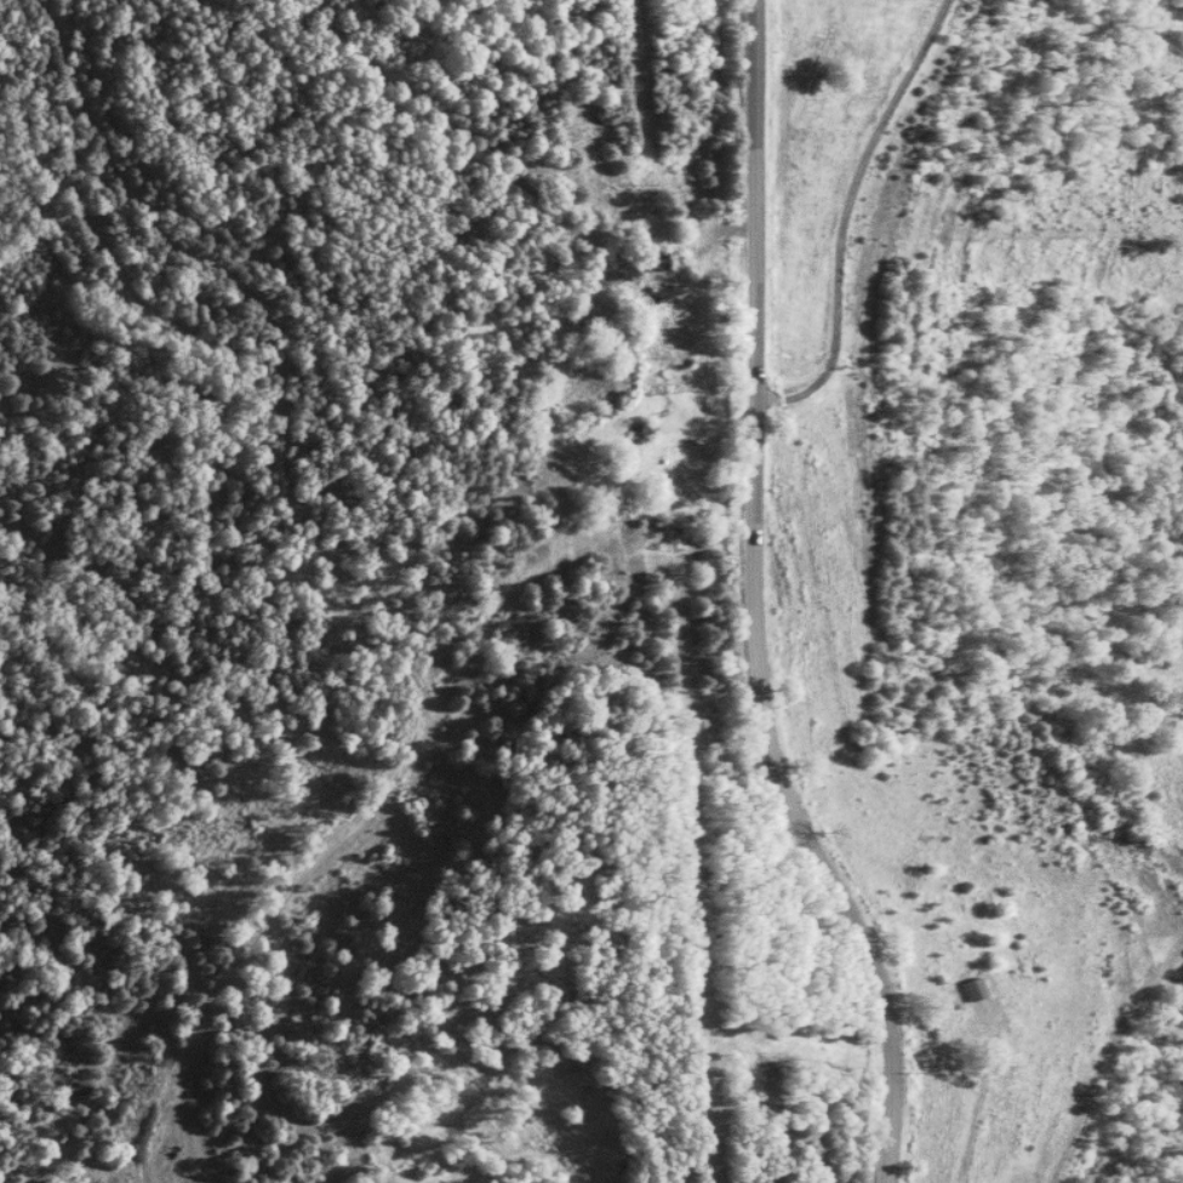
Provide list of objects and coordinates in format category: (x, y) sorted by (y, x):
road: (855, 221)
road: (753, 606)
building: (977, 989)

